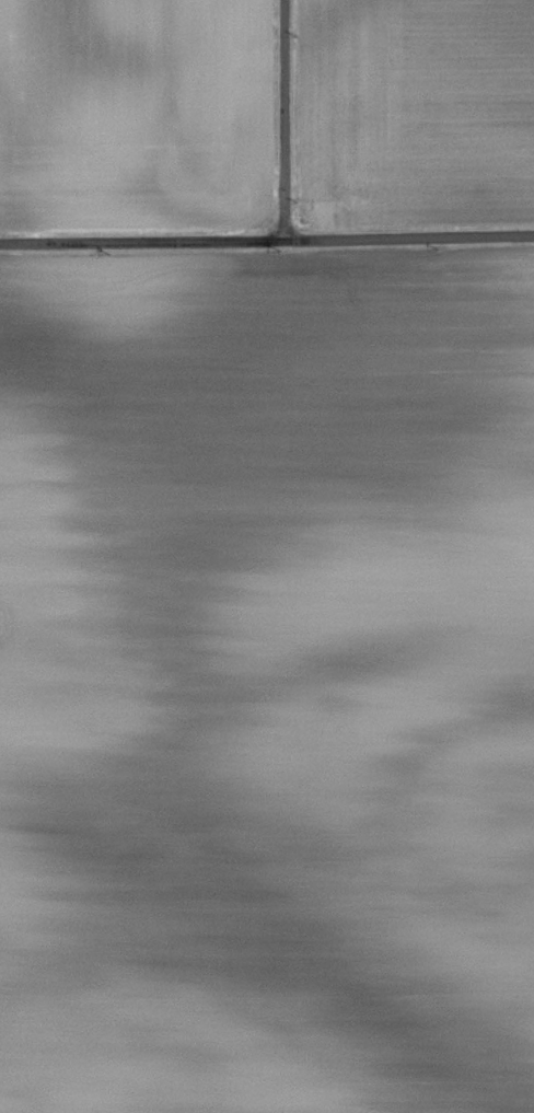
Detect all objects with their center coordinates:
road: (285, 119)
road: (266, 240)

